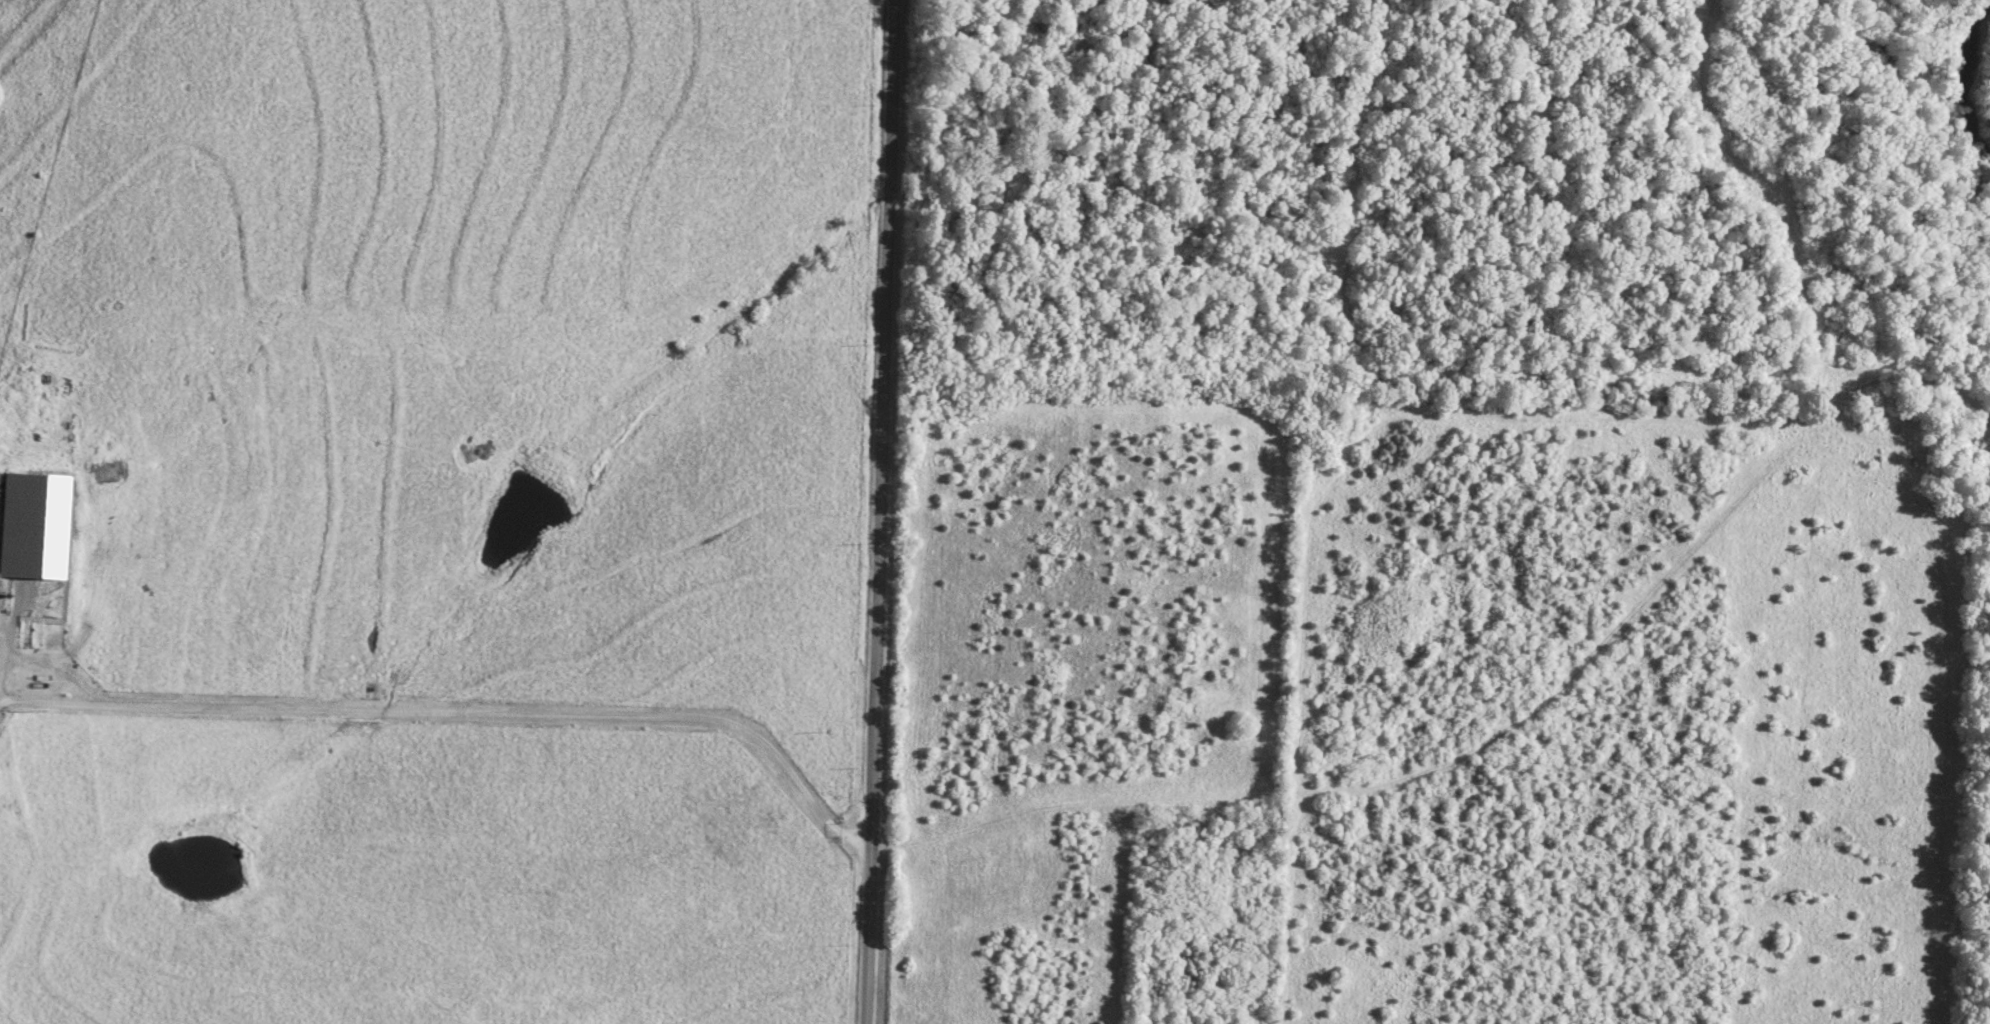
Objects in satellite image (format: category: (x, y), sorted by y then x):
road: (879, 512)
building: (35, 524)
road: (13, 633)
road: (1, 695)
road: (1, 705)
road: (463, 714)

